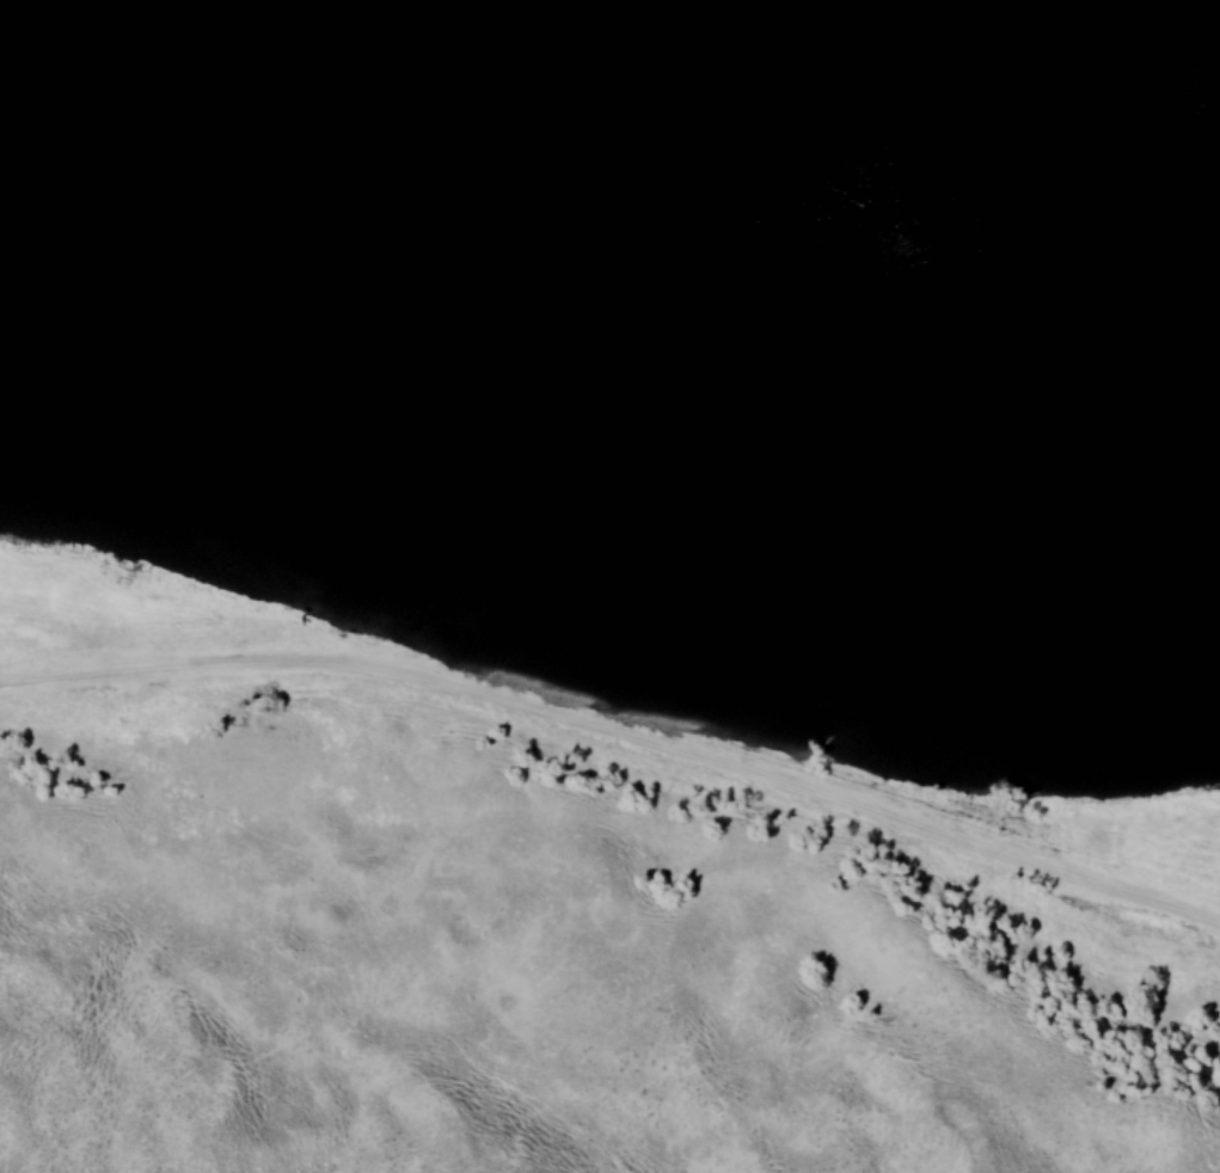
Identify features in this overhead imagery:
road: (621, 741)

